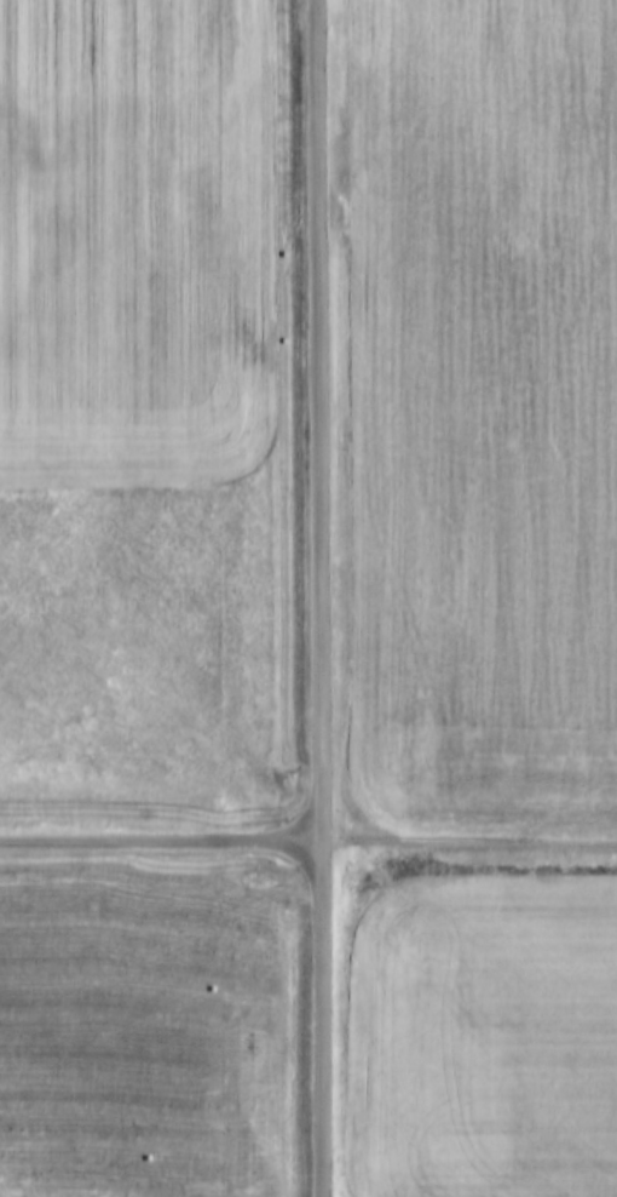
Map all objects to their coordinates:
road: (322, 598)
road: (161, 841)
road: (469, 841)

